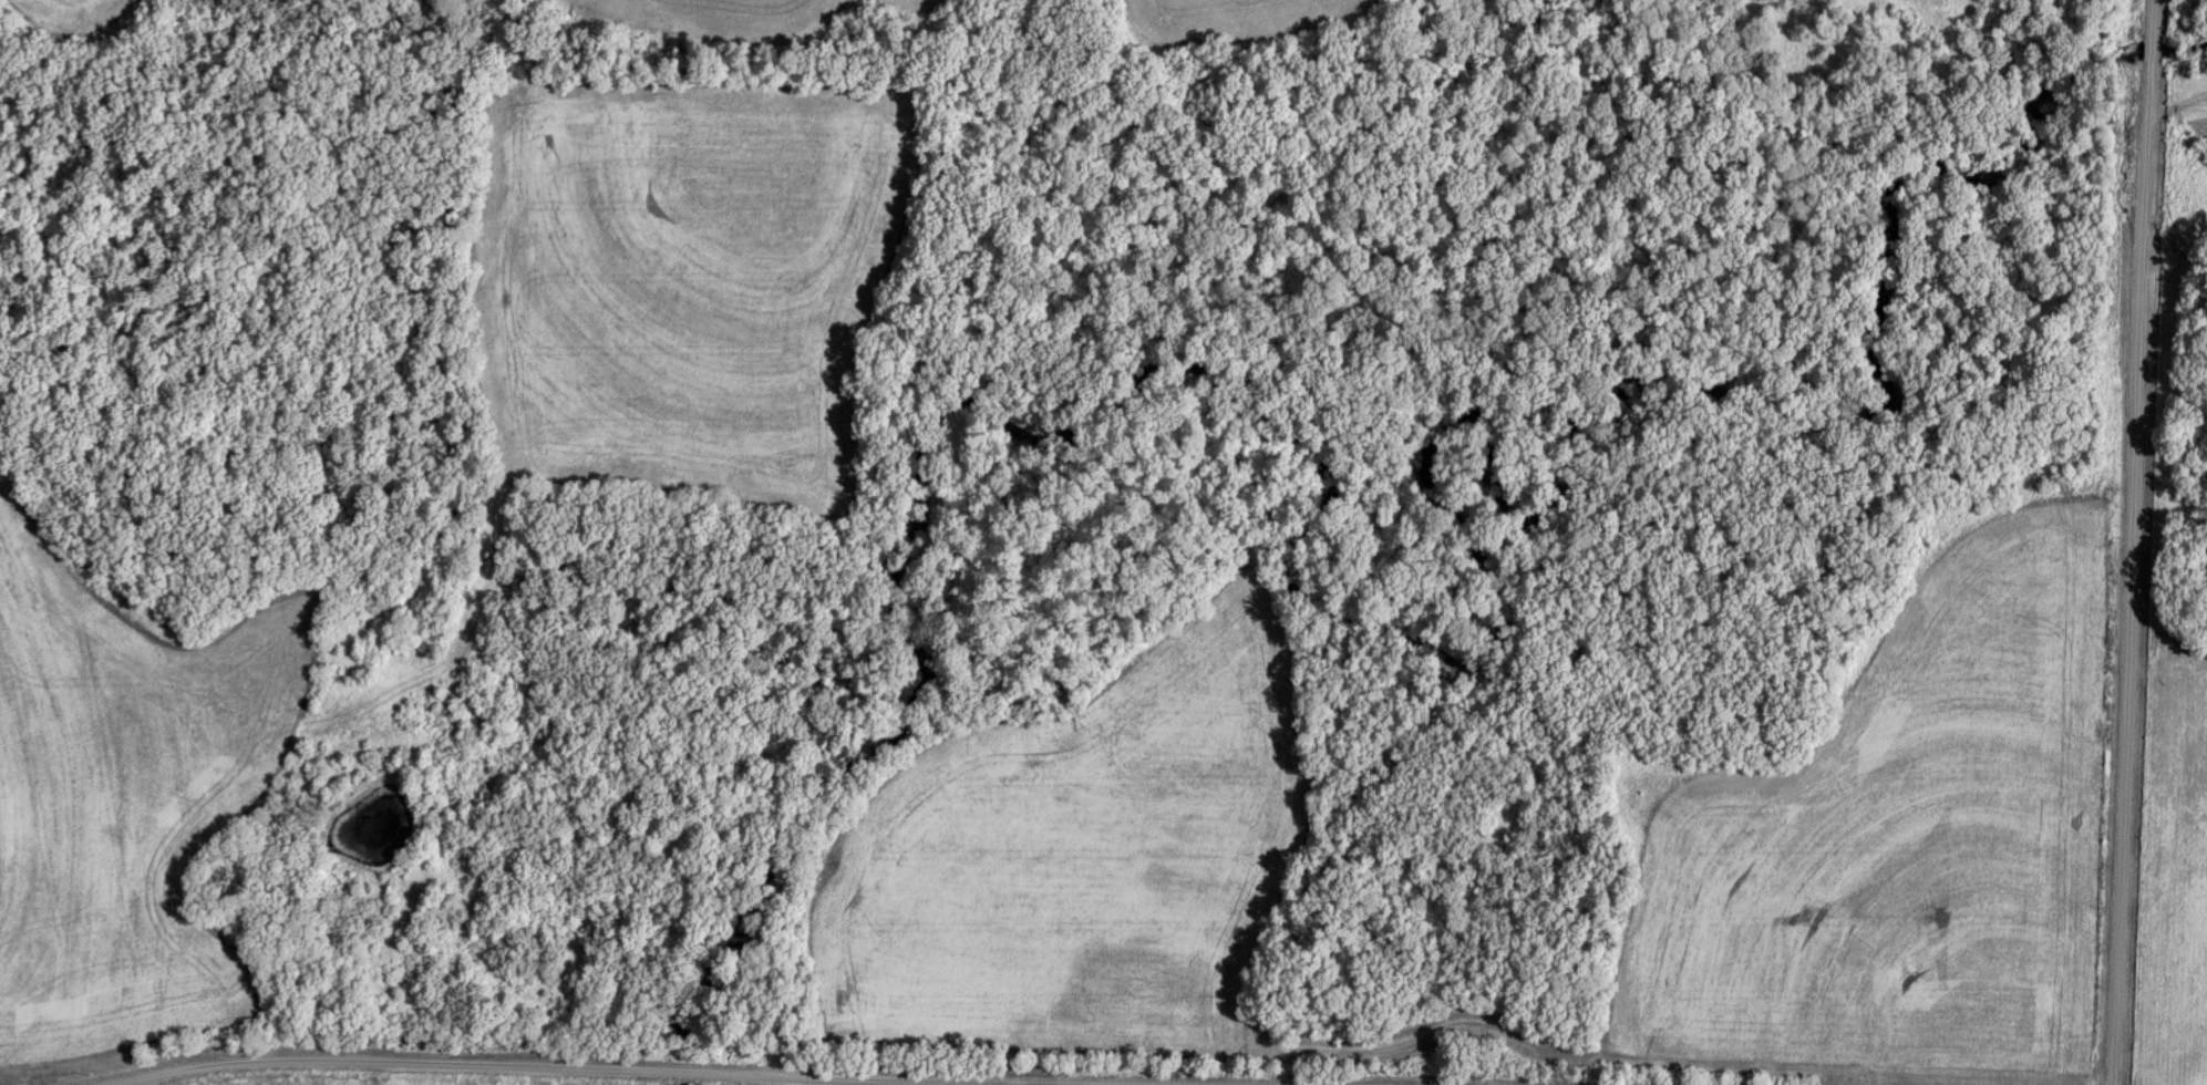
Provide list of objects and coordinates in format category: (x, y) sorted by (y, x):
road: (2134, 542)
road: (661, 1067)

